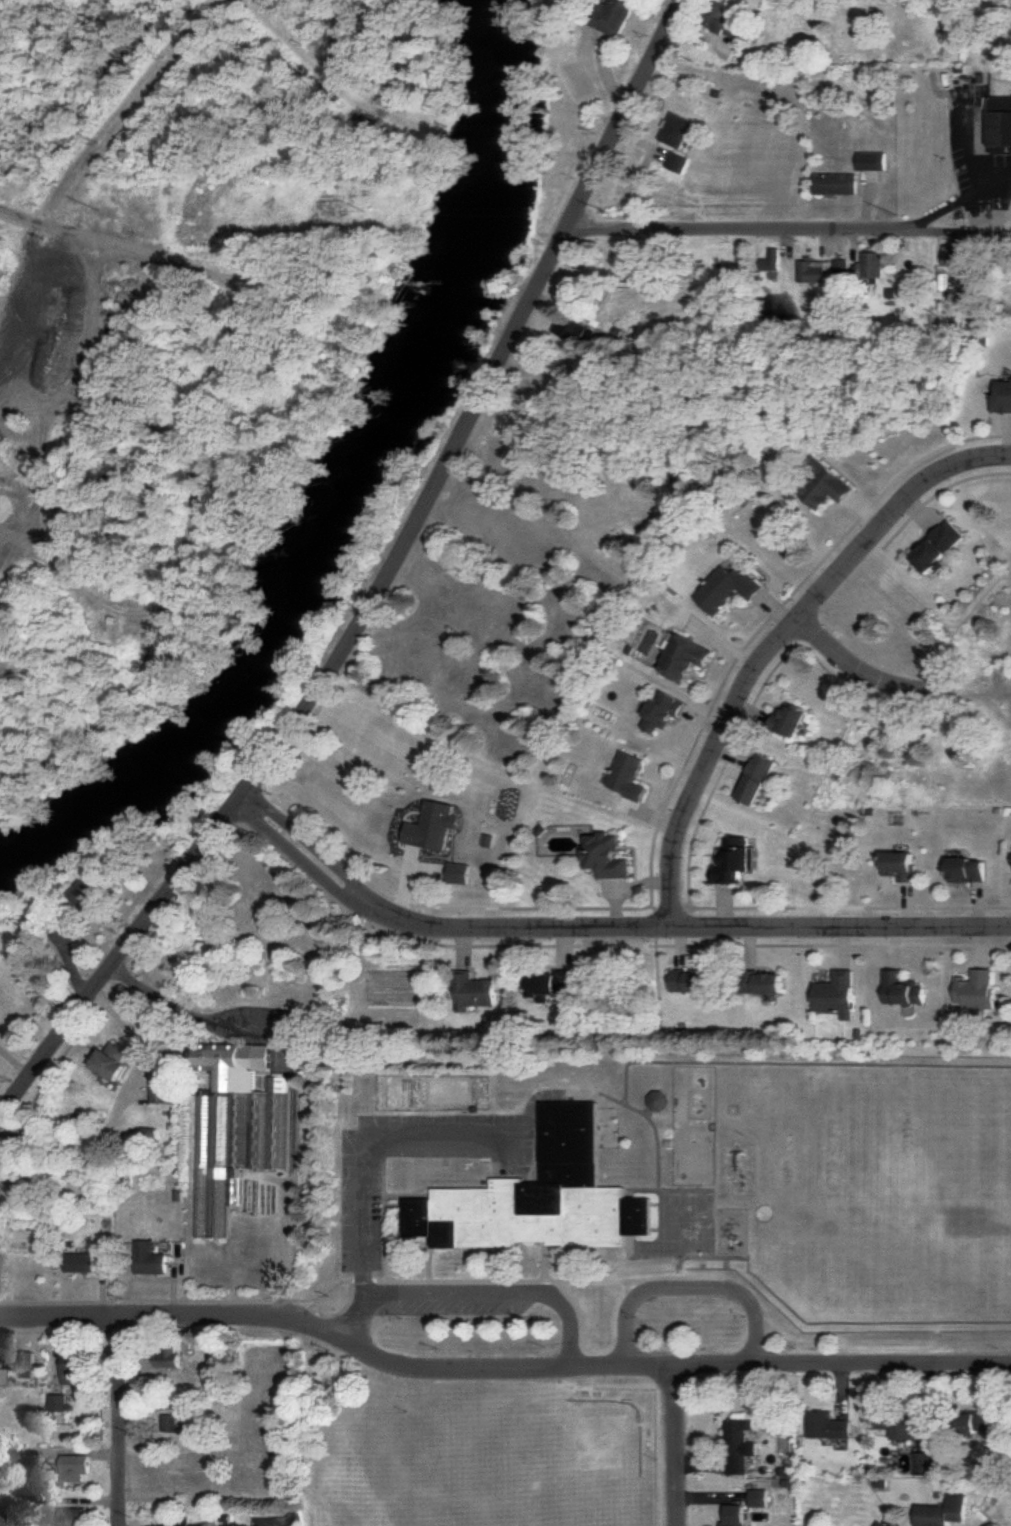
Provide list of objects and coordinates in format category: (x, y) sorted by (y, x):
building: (614, 15)
building: (727, 21)
building: (998, 122)
building: (676, 130)
building: (871, 160)
building: (677, 161)
building: (835, 183)
road: (793, 230)
building: (951, 256)
building: (771, 260)
building: (871, 265)
building: (840, 269)
building: (814, 271)
building: (575, 330)
road: (79, 367)
building: (1003, 397)
road: (34, 408)
road: (197, 421)
building: (823, 484)
river: (352, 506)
building: (936, 547)
road: (369, 581)
building: (726, 587)
road: (773, 648)
building: (684, 657)
road: (895, 681)
building: (661, 711)
building: (789, 719)
building: (627, 775)
building: (756, 778)
building: (433, 826)
building: (606, 855)
building: (734, 860)
building: (899, 864)
building: (966, 869)
building: (458, 872)
building: (92, 890)
road: (606, 929)
building: (690, 980)
building: (769, 982)
building: (551, 983)
building: (902, 988)
building: (976, 990)
building: (474, 991)
building: (836, 993)
road: (130, 1037)
building: (113, 1060)
road: (295, 1078)
building: (161, 1089)
building: (235, 1128)
building: (149, 1132)
road: (367, 1139)
building: (539, 1196)
building: (149, 1258)
building: (80, 1262)
road: (686, 1287)
road: (443, 1294)
road: (353, 1311)
road: (567, 1313)
building: (168, 1357)
building: (29, 1364)
building: (70, 1367)
road: (498, 1369)
building: (1, 1376)
building: (57, 1402)
road: (123, 1421)
building: (973, 1421)
building: (169, 1422)
building: (827, 1425)
building: (899, 1425)
road: (676, 1446)
building: (738, 1446)
building: (7, 1456)
building: (922, 1462)
building: (73, 1466)
building: (942, 1511)
building: (734, 1515)
building: (69, 1516)
building: (182, 1522)
building: (878, 1523)
building: (993, 1524)

